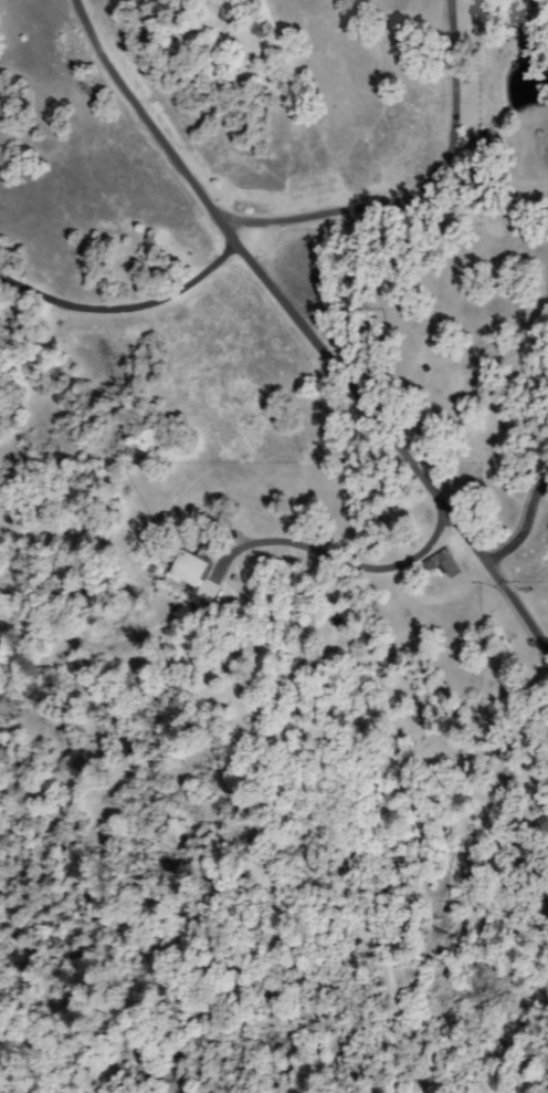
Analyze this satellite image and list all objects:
road: (484, 176)
road: (422, 191)
road: (102, 228)
road: (308, 331)
road: (396, 337)
road: (309, 480)
building: (444, 564)
building: (192, 575)
building: (541, 831)

